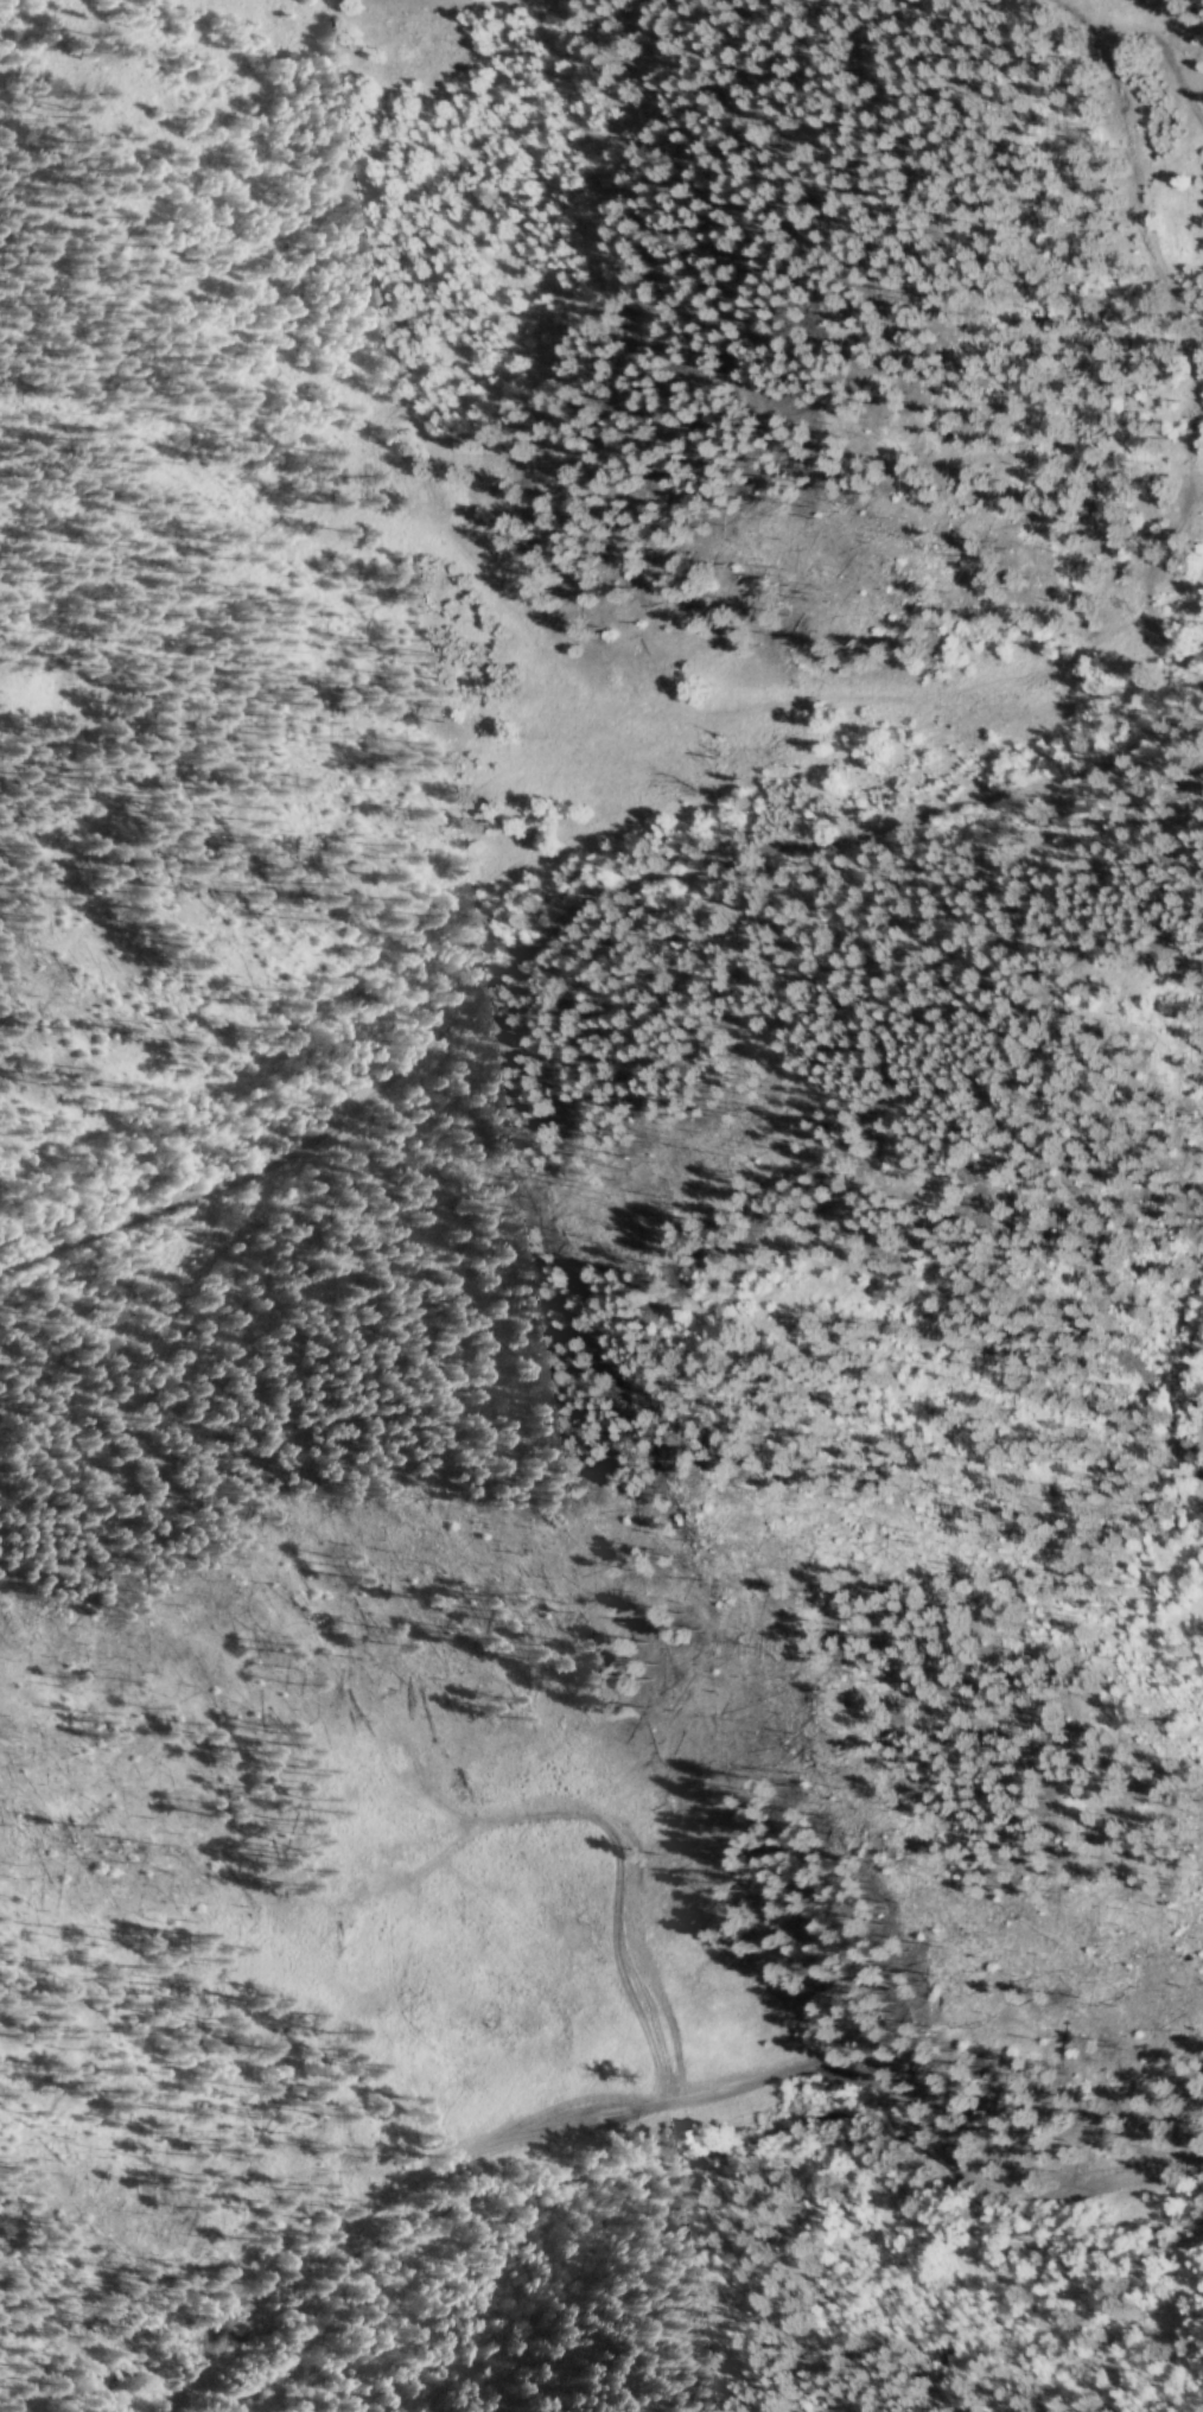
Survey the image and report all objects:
road: (445, 0)
road: (1150, 244)
road: (1146, 574)
road: (566, 916)
road: (1159, 1284)
road: (654, 2104)

